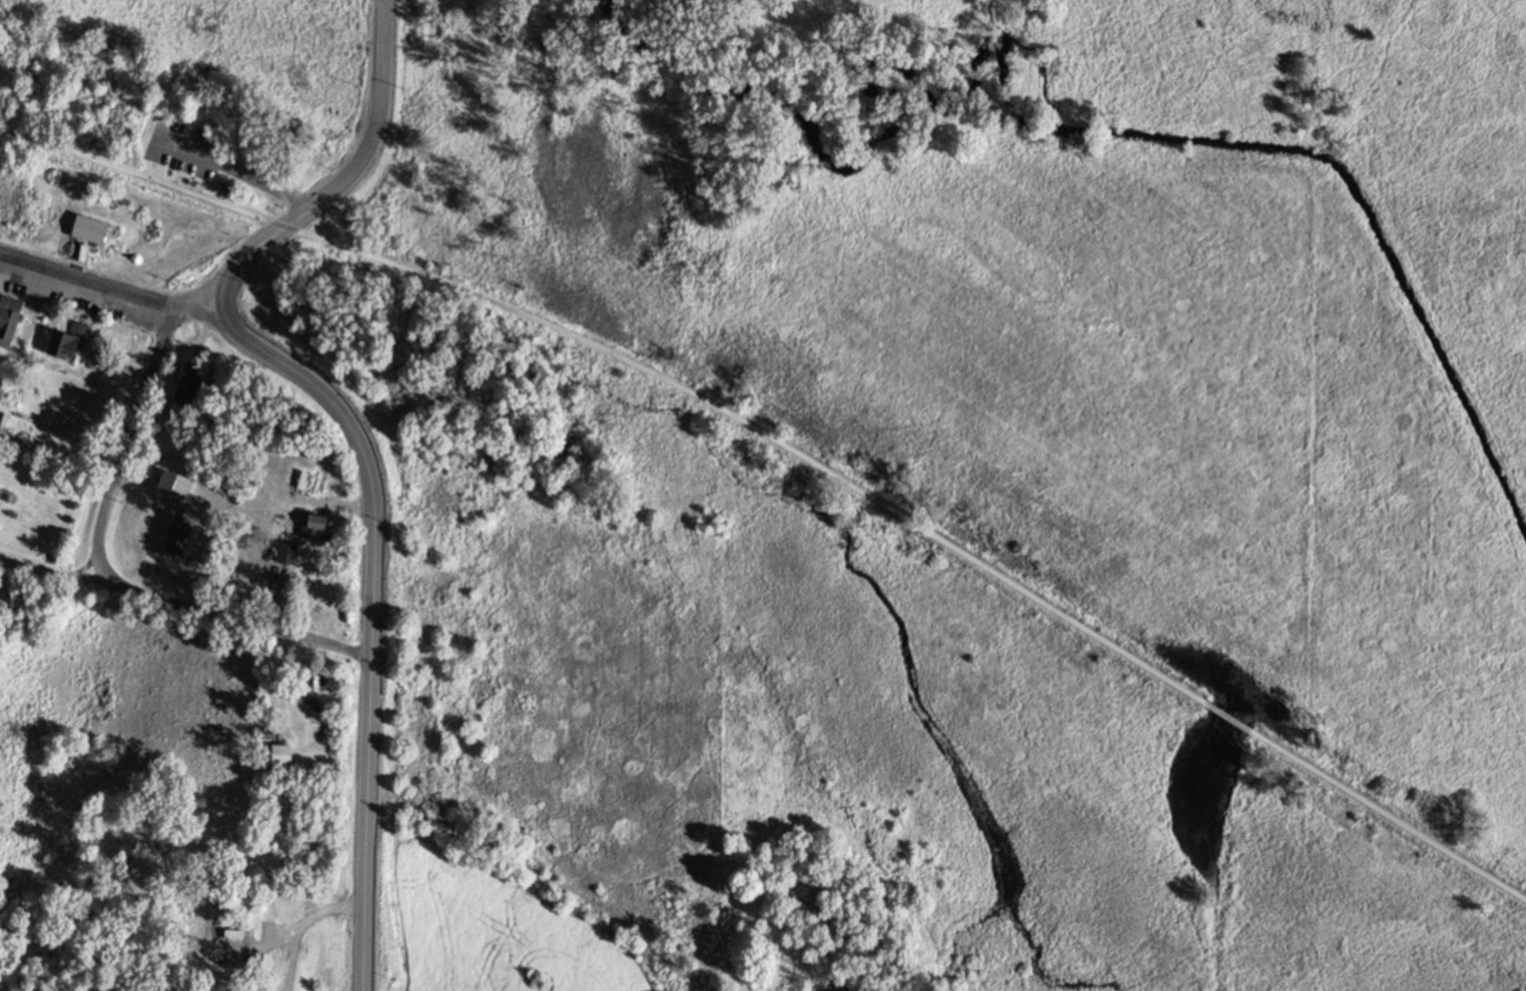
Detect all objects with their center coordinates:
parking lot: (181, 151)
road: (185, 184)
road: (262, 186)
building: (87, 231)
road: (108, 291)
building: (8, 319)
building: (66, 340)
road: (626, 362)
building: (1, 384)
building: (184, 388)
building: (2, 420)
road: (353, 430)
road: (126, 434)
building: (315, 525)
building: (176, 533)
building: (287, 551)
road: (31, 570)
road: (66, 578)
building: (10, 582)
road: (227, 618)
building: (264, 675)
building: (311, 681)
building: (313, 699)
road: (1225, 718)
building: (265, 733)
building: (281, 752)
road: (1387, 817)
road: (556, 885)
building: (798, 896)
building: (830, 915)
road: (302, 925)
building: (233, 932)
building: (838, 985)
building: (861, 989)

